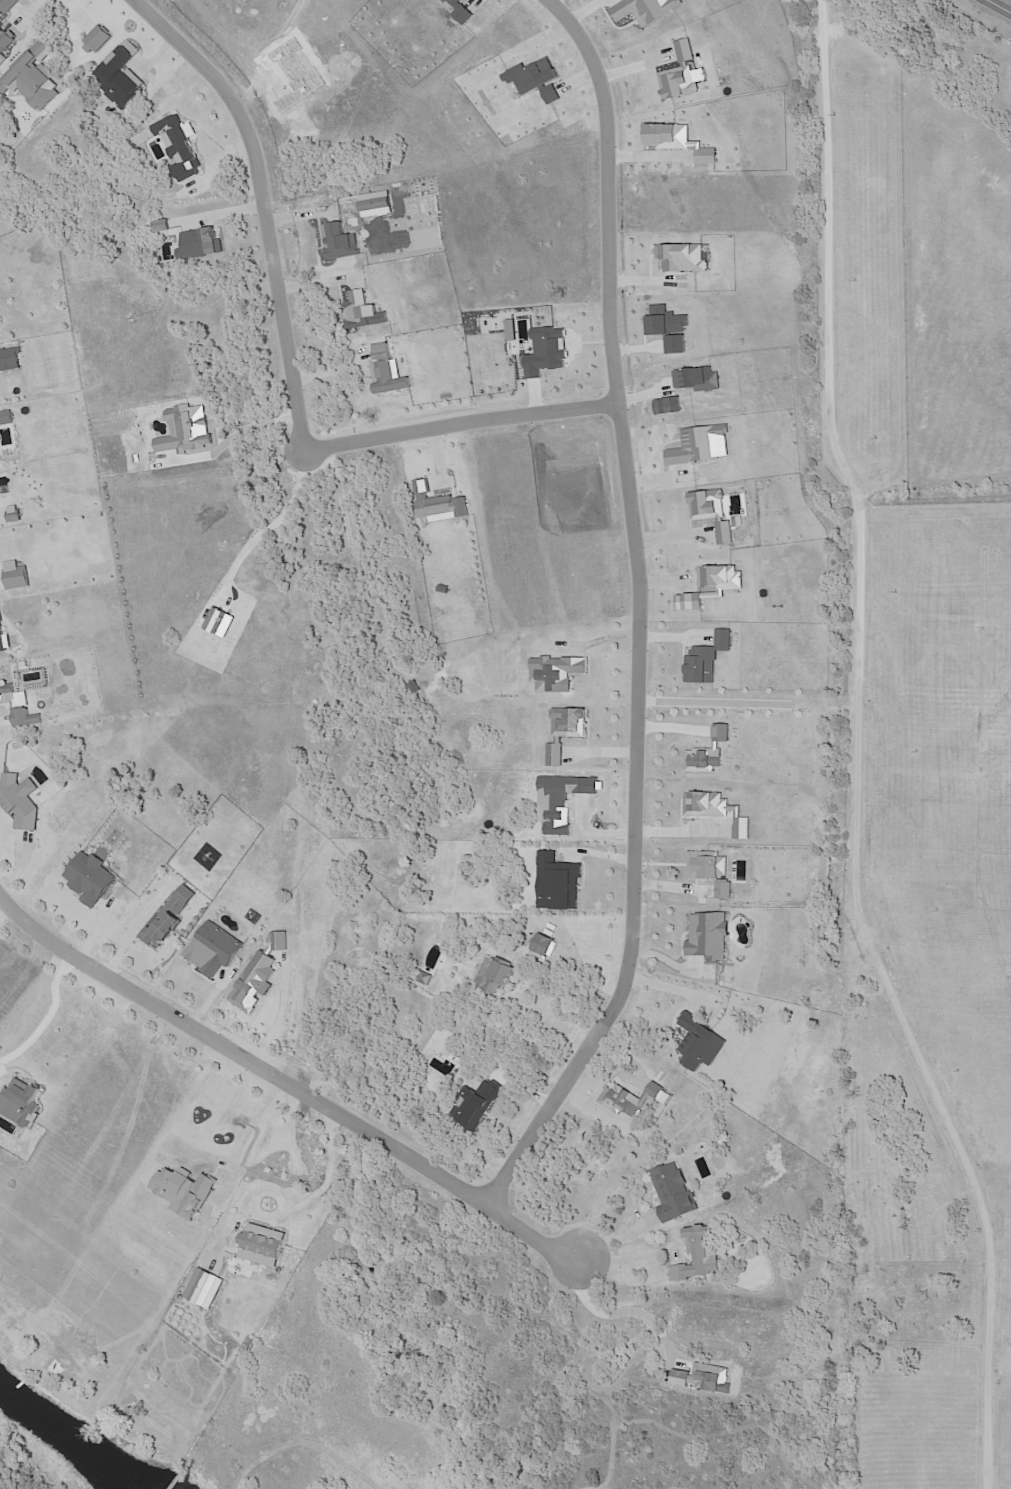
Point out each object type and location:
road: (1002, 4)
road: (27, 10)
road: (266, 204)
road: (458, 426)
road: (253, 429)
road: (277, 524)
road: (636, 613)
road: (856, 753)
road: (678, 831)
road: (135, 927)
building: (505, 980)
road: (56, 1014)
road: (281, 1015)
road: (287, 1081)
road: (248, 1137)
road: (298, 1208)
road: (619, 1234)
road: (631, 1257)
road: (622, 1312)

